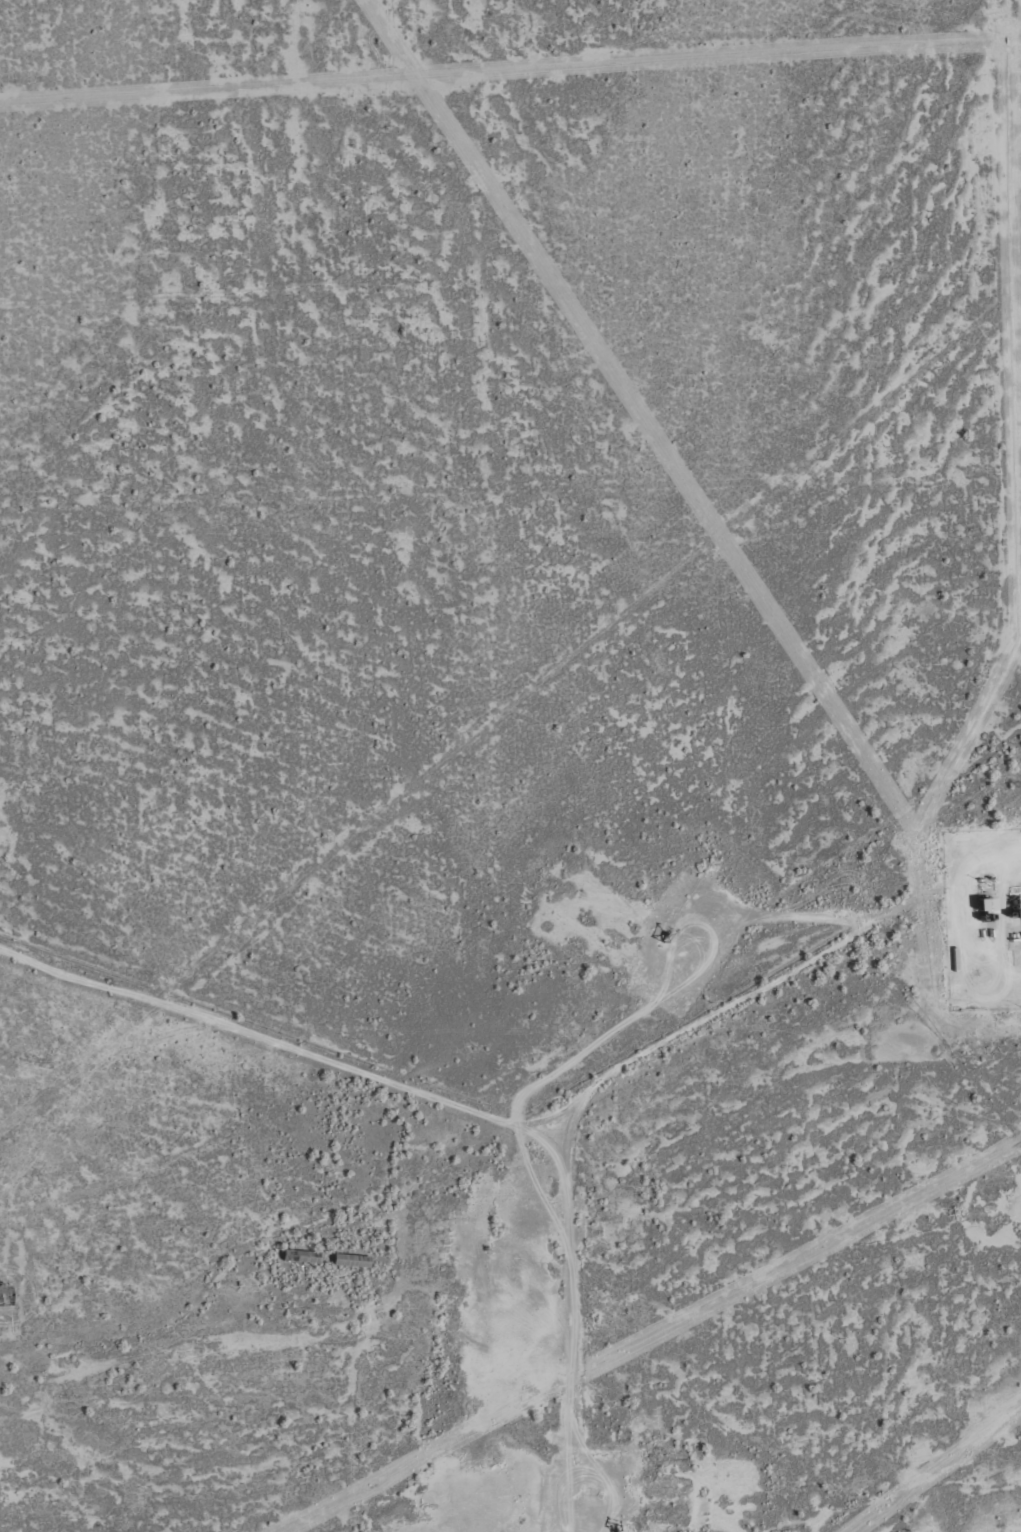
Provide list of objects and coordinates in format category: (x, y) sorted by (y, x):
road: (586, 1043)
road: (270, 1186)

